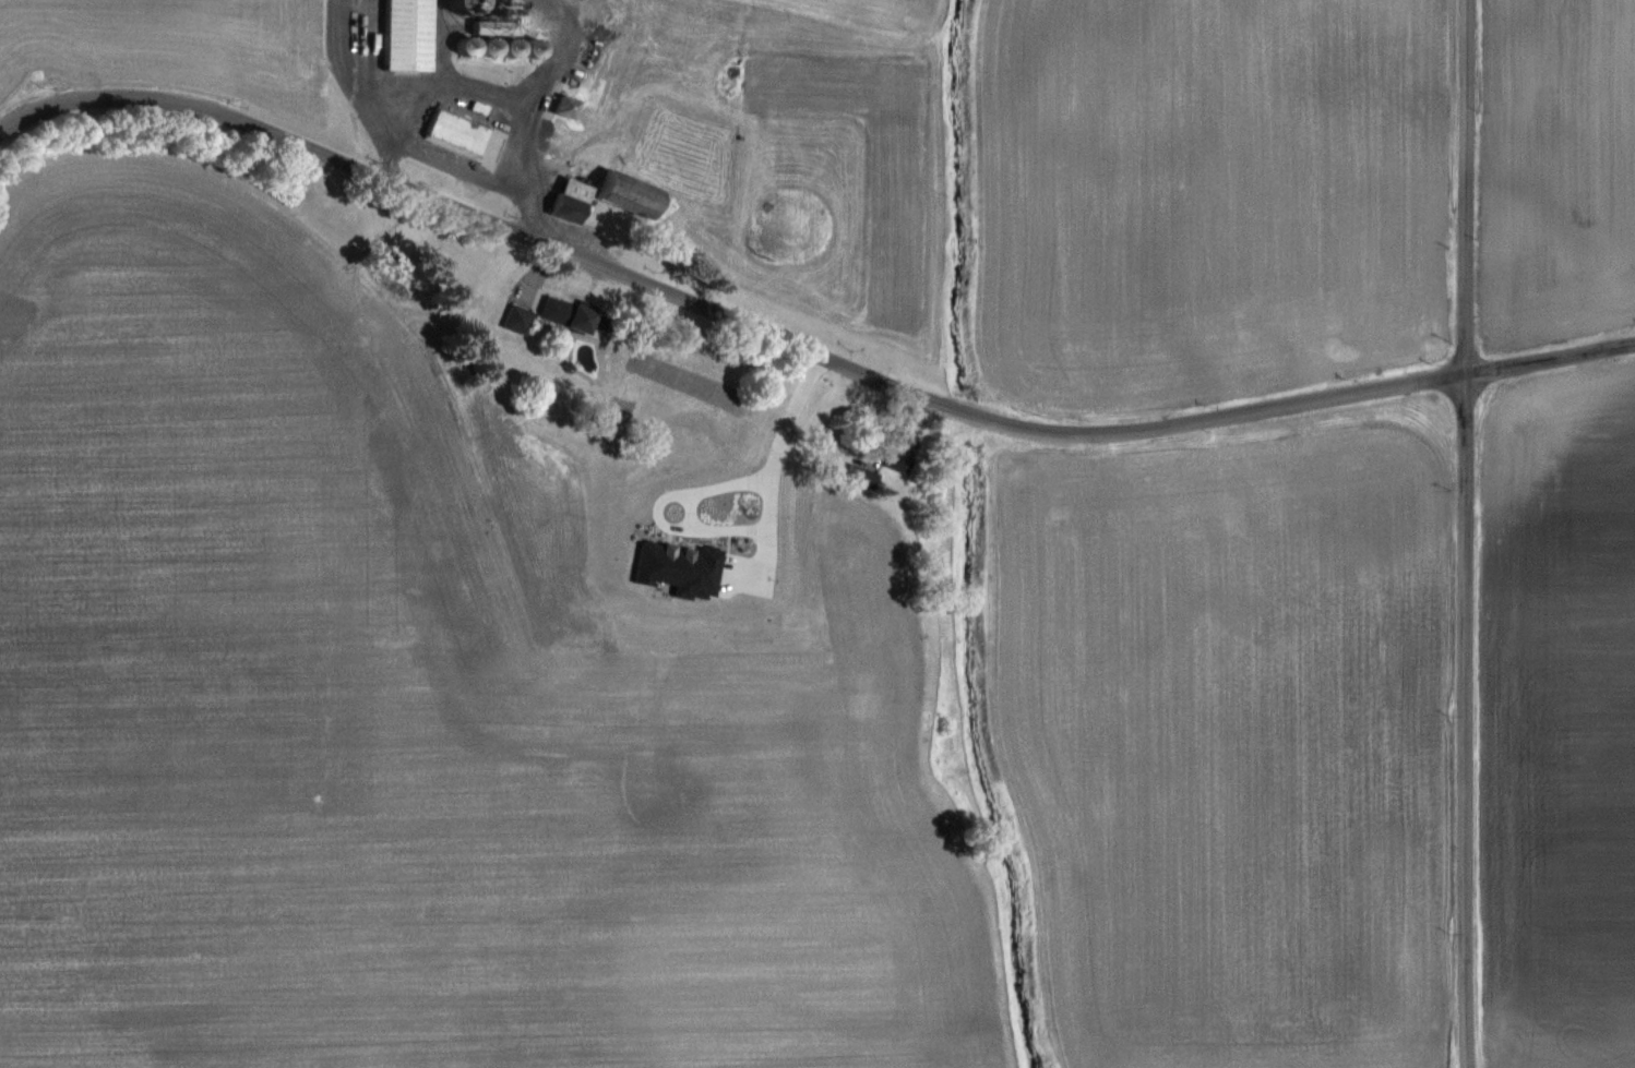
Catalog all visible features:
building: (458, 5)
building: (491, 27)
building: (404, 35)
building: (462, 48)
building: (485, 48)
building: (506, 48)
building: (529, 49)
crop: (200, 79)
building: (562, 108)
building: (452, 132)
crop: (1560, 169)
building: (625, 195)
building: (568, 201)
crop: (1205, 203)
building: (571, 316)
road: (721, 316)
road: (1550, 361)
road: (783, 435)
building: (899, 453)
building: (859, 477)
road: (1465, 533)
crop: (672, 706)
crop: (1553, 713)

